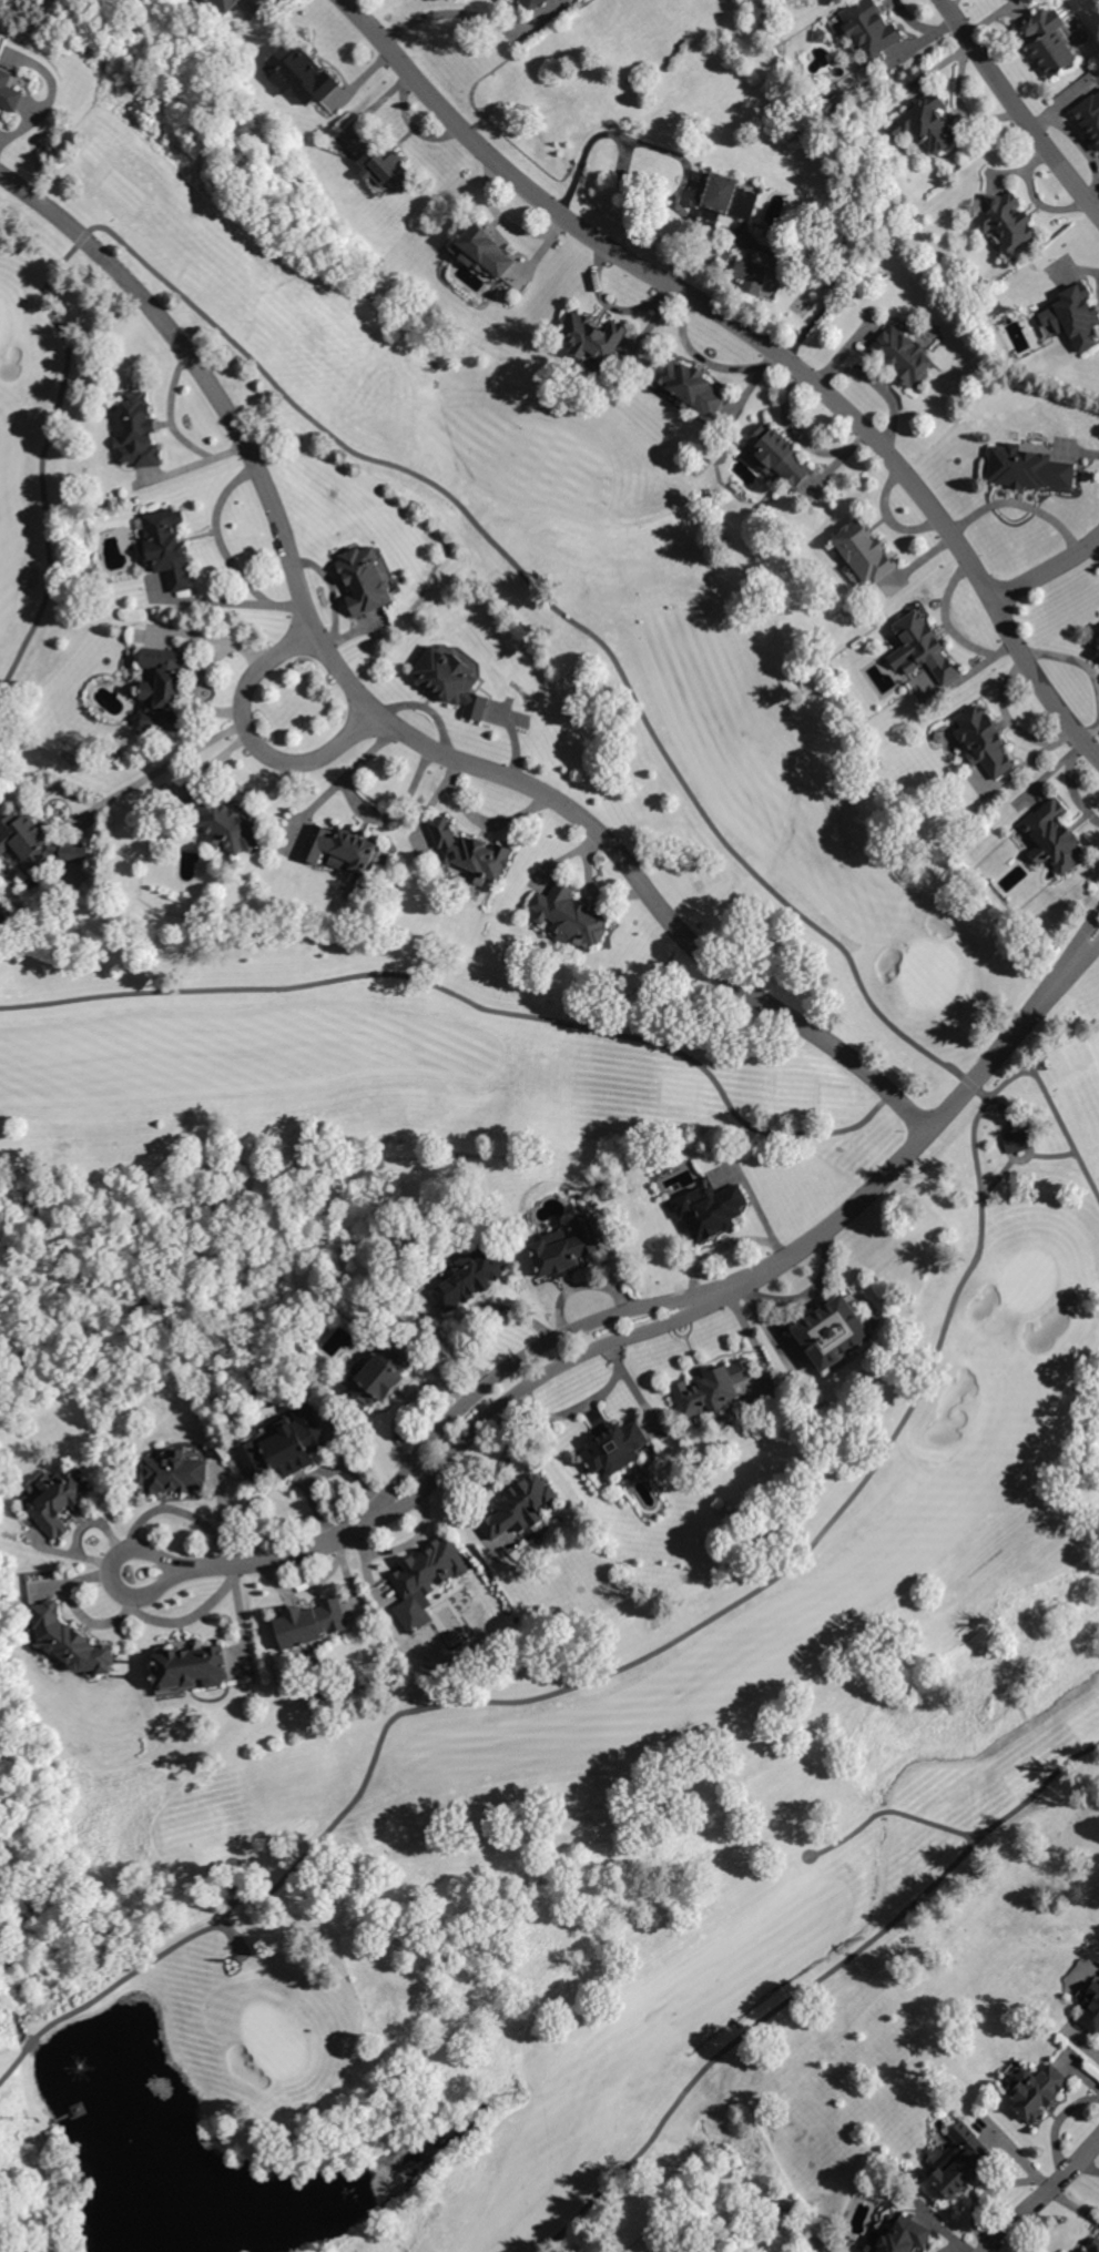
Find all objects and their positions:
building: (520, 0)
building: (227, 4)
building: (533, 4)
road: (447, 12)
building: (842, 14)
building: (818, 37)
building: (1050, 40)
building: (866, 41)
building: (303, 75)
road: (1005, 88)
building: (9, 92)
building: (1090, 114)
building: (927, 123)
building: (384, 162)
road: (1083, 194)
building: (723, 199)
building: (1006, 221)
building: (712, 245)
building: (482, 251)
building: (752, 276)
building: (1076, 317)
building: (593, 337)
road: (761, 338)
building: (905, 355)
building: (689, 387)
building: (139, 433)
building: (781, 455)
road: (389, 464)
building: (1028, 468)
road: (1019, 504)
building: (169, 547)
building: (862, 552)
road: (1048, 570)
building: (366, 580)
building: (1098, 627)
building: (1098, 641)
building: (925, 648)
road: (203, 670)
building: (452, 680)
building: (164, 687)
road: (388, 722)
road: (1008, 722)
road: (252, 740)
building: (986, 742)
road: (157, 771)
building: (223, 822)
building: (1055, 838)
building: (37, 844)
building: (342, 849)
building: (470, 852)
building: (569, 914)
building: (4, 916)
road: (462, 998)
building: (1019, 1142)
road: (998, 1174)
road: (1087, 1177)
building: (712, 1211)
park: (515, 1224)
building: (567, 1248)
building: (470, 1279)
road: (653, 1316)
building: (834, 1332)
building: (383, 1374)
building: (713, 1389)
building: (285, 1445)
building: (617, 1448)
building: (176, 1473)
building: (61, 1499)
building: (522, 1505)
road: (830, 1521)
building: (429, 1568)
building: (313, 1623)
building: (71, 1643)
building: (194, 1667)
road: (968, 1834)
road: (803, 1856)
road: (233, 1858)
building: (397, 1929)
road: (835, 1949)
road: (154, 1960)
building: (1091, 2013)
road: (733, 2021)
road: (747, 2032)
building: (1037, 2090)
pier: (80, 2110)
building: (960, 2162)
road: (1088, 2167)
road: (1042, 2197)
building: (903, 2236)
building: (1093, 2245)

